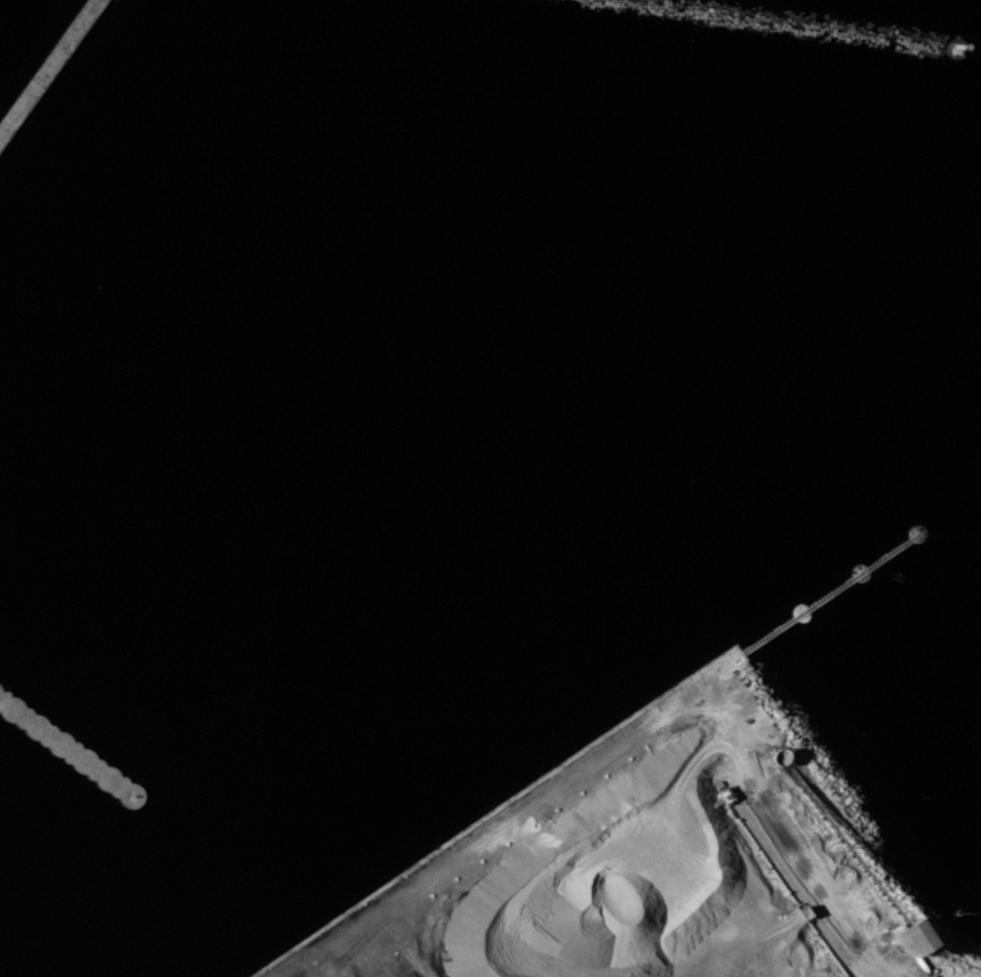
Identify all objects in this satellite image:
pier: (49, 68)
pier: (831, 589)

